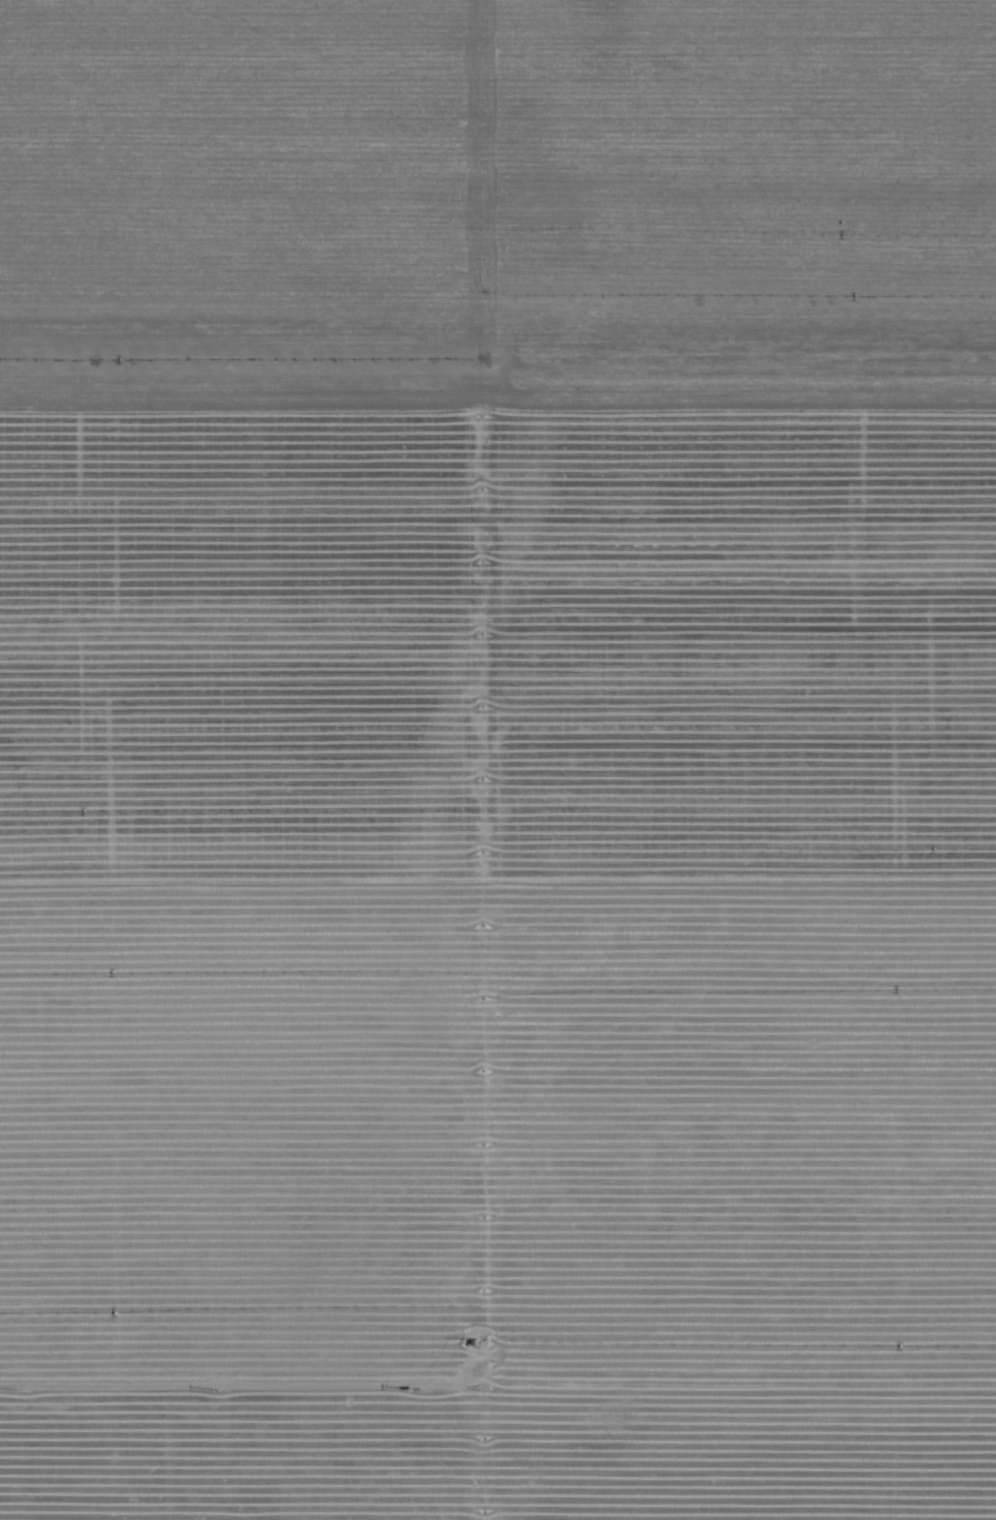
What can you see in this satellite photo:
crop: (498, 760)
road: (224, 1381)

